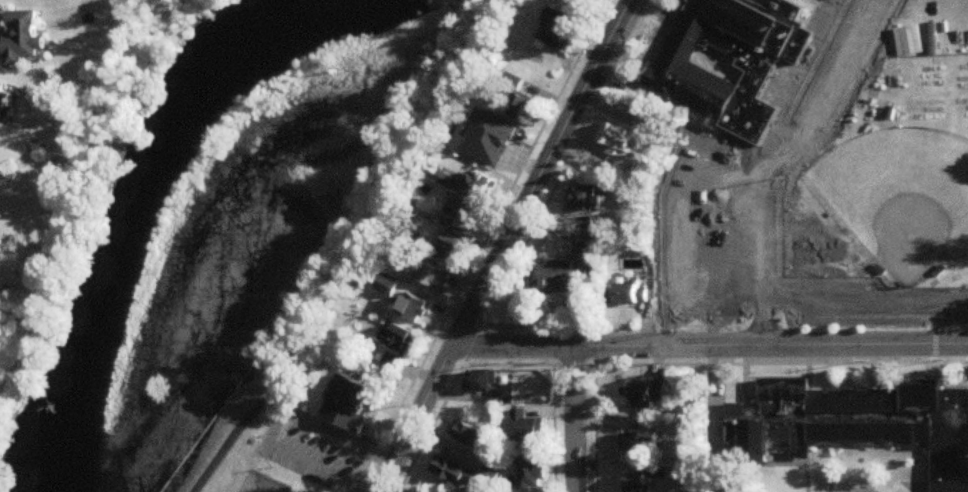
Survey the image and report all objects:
building: (588, 0)
building: (561, 38)
building: (23, 40)
building: (737, 60)
road: (804, 82)
road: (822, 91)
building: (5, 104)
building: (527, 108)
building: (620, 140)
building: (499, 143)
building: (460, 145)
road: (99, 156)
parking lot: (733, 165)
building: (444, 177)
road: (552, 179)
building: (486, 184)
river: (146, 197)
park: (901, 197)
park: (837, 199)
building: (588, 200)
building: (470, 212)
road: (683, 227)
road: (502, 244)
road: (484, 246)
building: (455, 249)
road: (353, 250)
road: (763, 251)
building: (428, 274)
building: (560, 276)
park: (716, 277)
building: (388, 286)
building: (628, 296)
road: (865, 300)
building: (414, 309)
road: (16, 332)
road: (710, 341)
building: (397, 348)
road: (779, 360)
road: (456, 368)
building: (482, 381)
building: (649, 393)
road: (273, 410)
building: (356, 416)
road: (552, 416)
road: (574, 416)
road: (590, 416)
road: (277, 423)
building: (854, 425)
building: (527, 427)
building: (468, 434)
building: (640, 443)
road: (717, 443)
parking lot: (321, 451)
parking lot: (297, 470)
building: (453, 471)
building: (529, 473)
park: (218, 477)
road: (806, 478)
road: (829, 480)
road: (872, 480)
building: (635, 485)
road: (860, 491)

